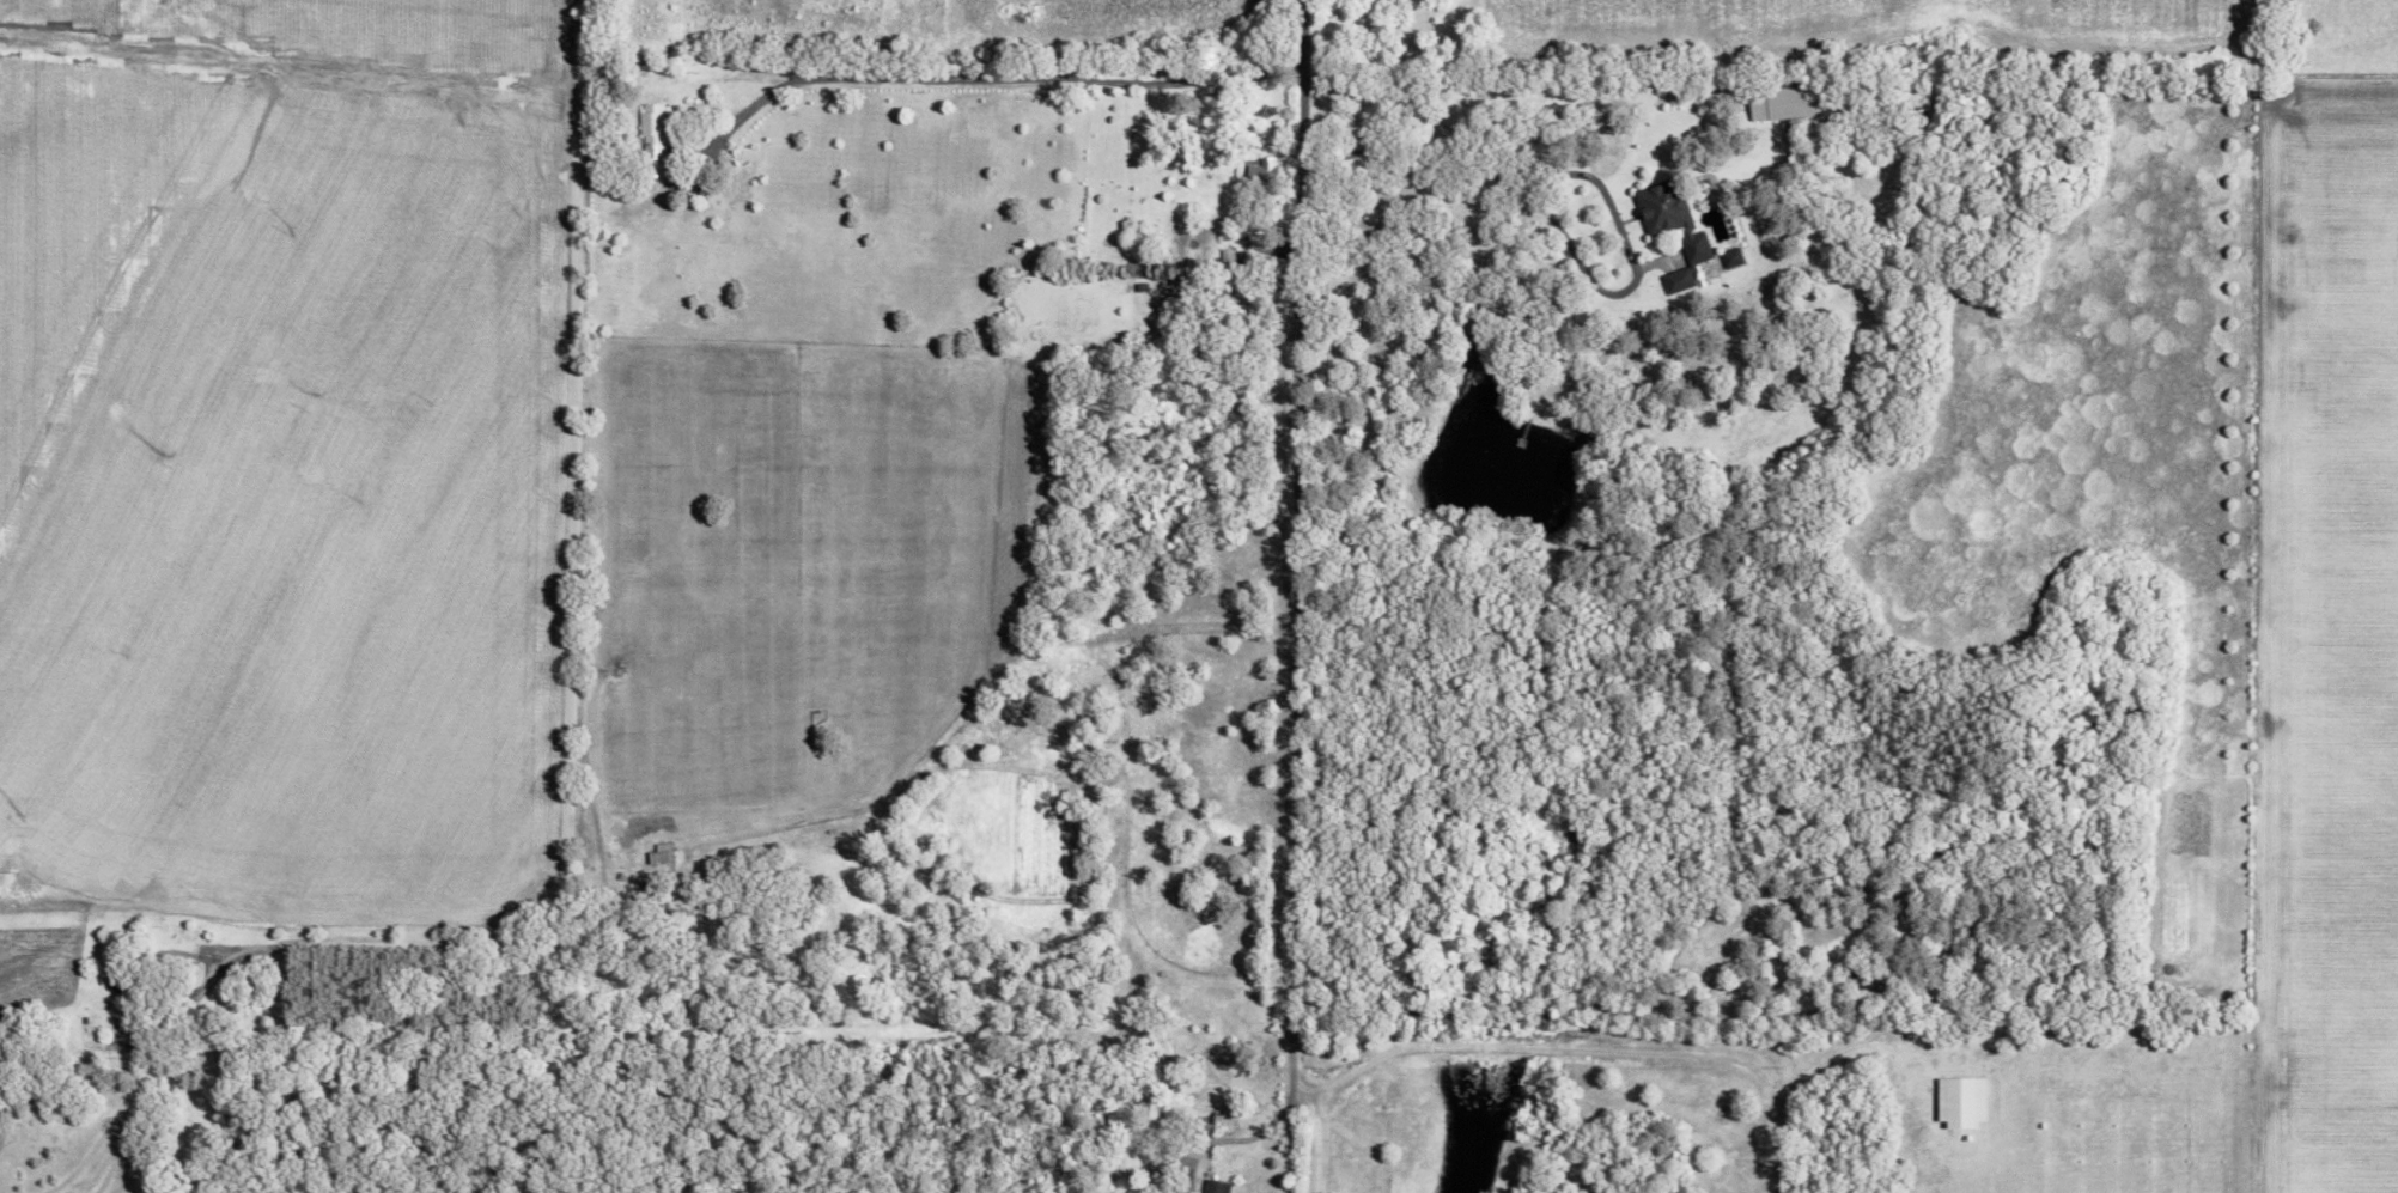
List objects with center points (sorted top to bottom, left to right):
road: (991, 77)
building: (1782, 104)
building: (652, 139)
building: (1262, 172)
building: (1673, 230)
road: (1290, 548)
road: (561, 640)
road: (1589, 1049)
road: (1296, 1100)
building: (1960, 1101)
road: (1311, 1148)
building: (1216, 1187)

